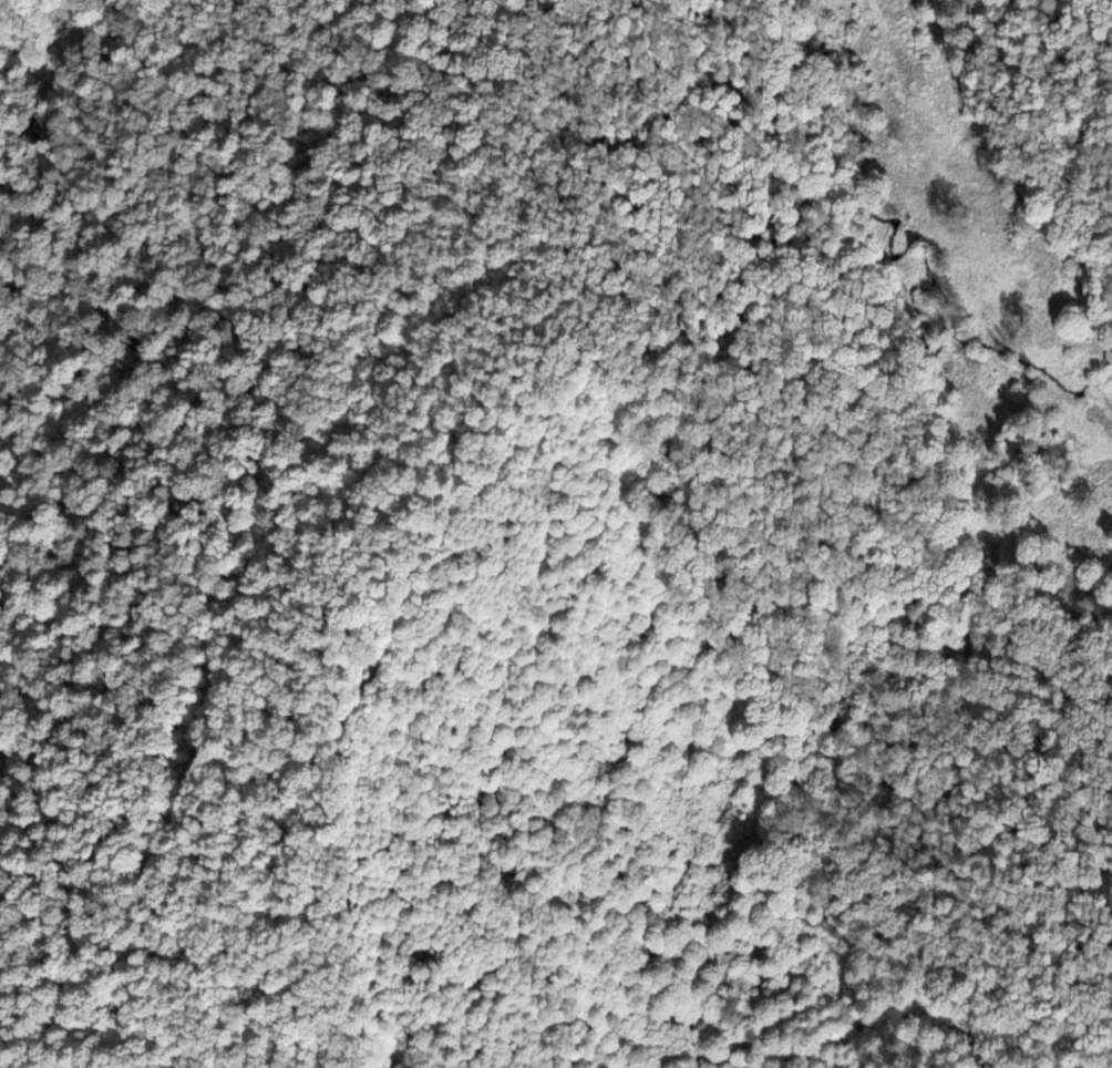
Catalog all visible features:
road: (0, 0)

